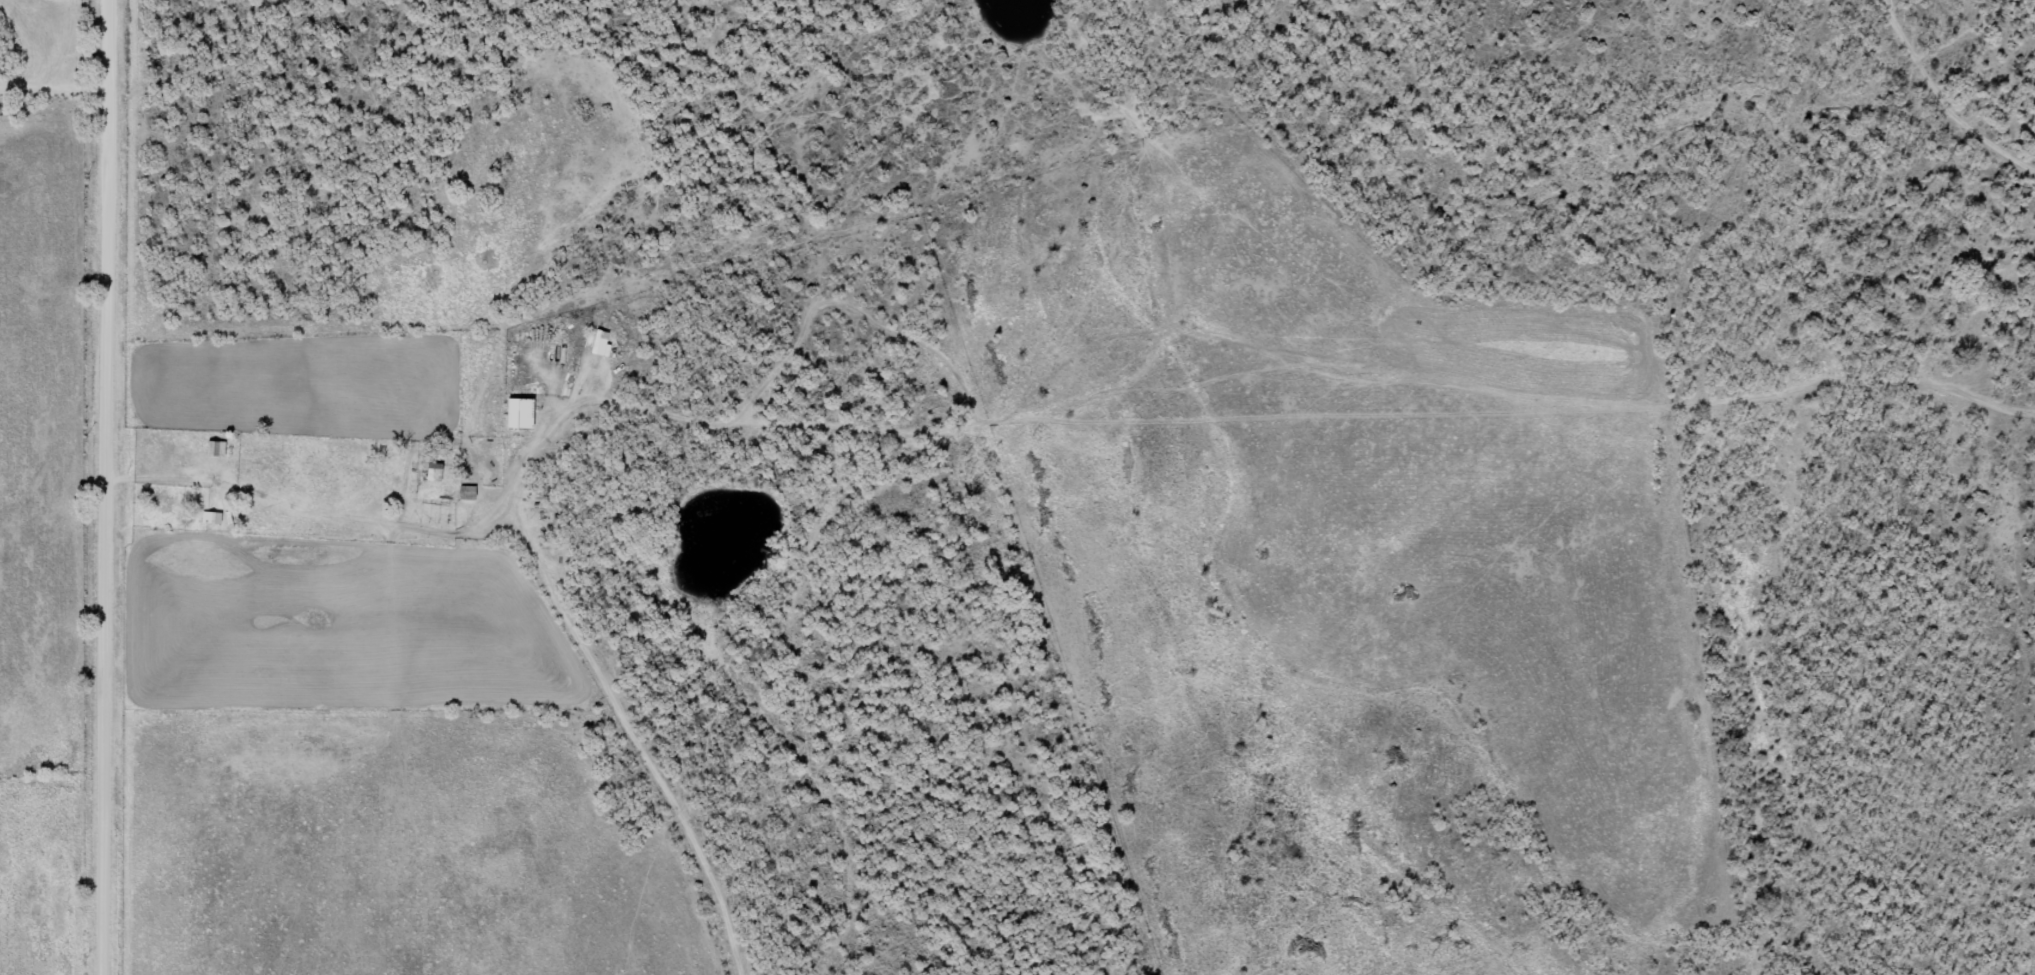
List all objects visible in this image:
road: (1947, 92)
road: (1256, 348)
building: (214, 449)
building: (431, 473)
road: (136, 487)
building: (464, 494)
building: (210, 519)
road: (591, 580)

